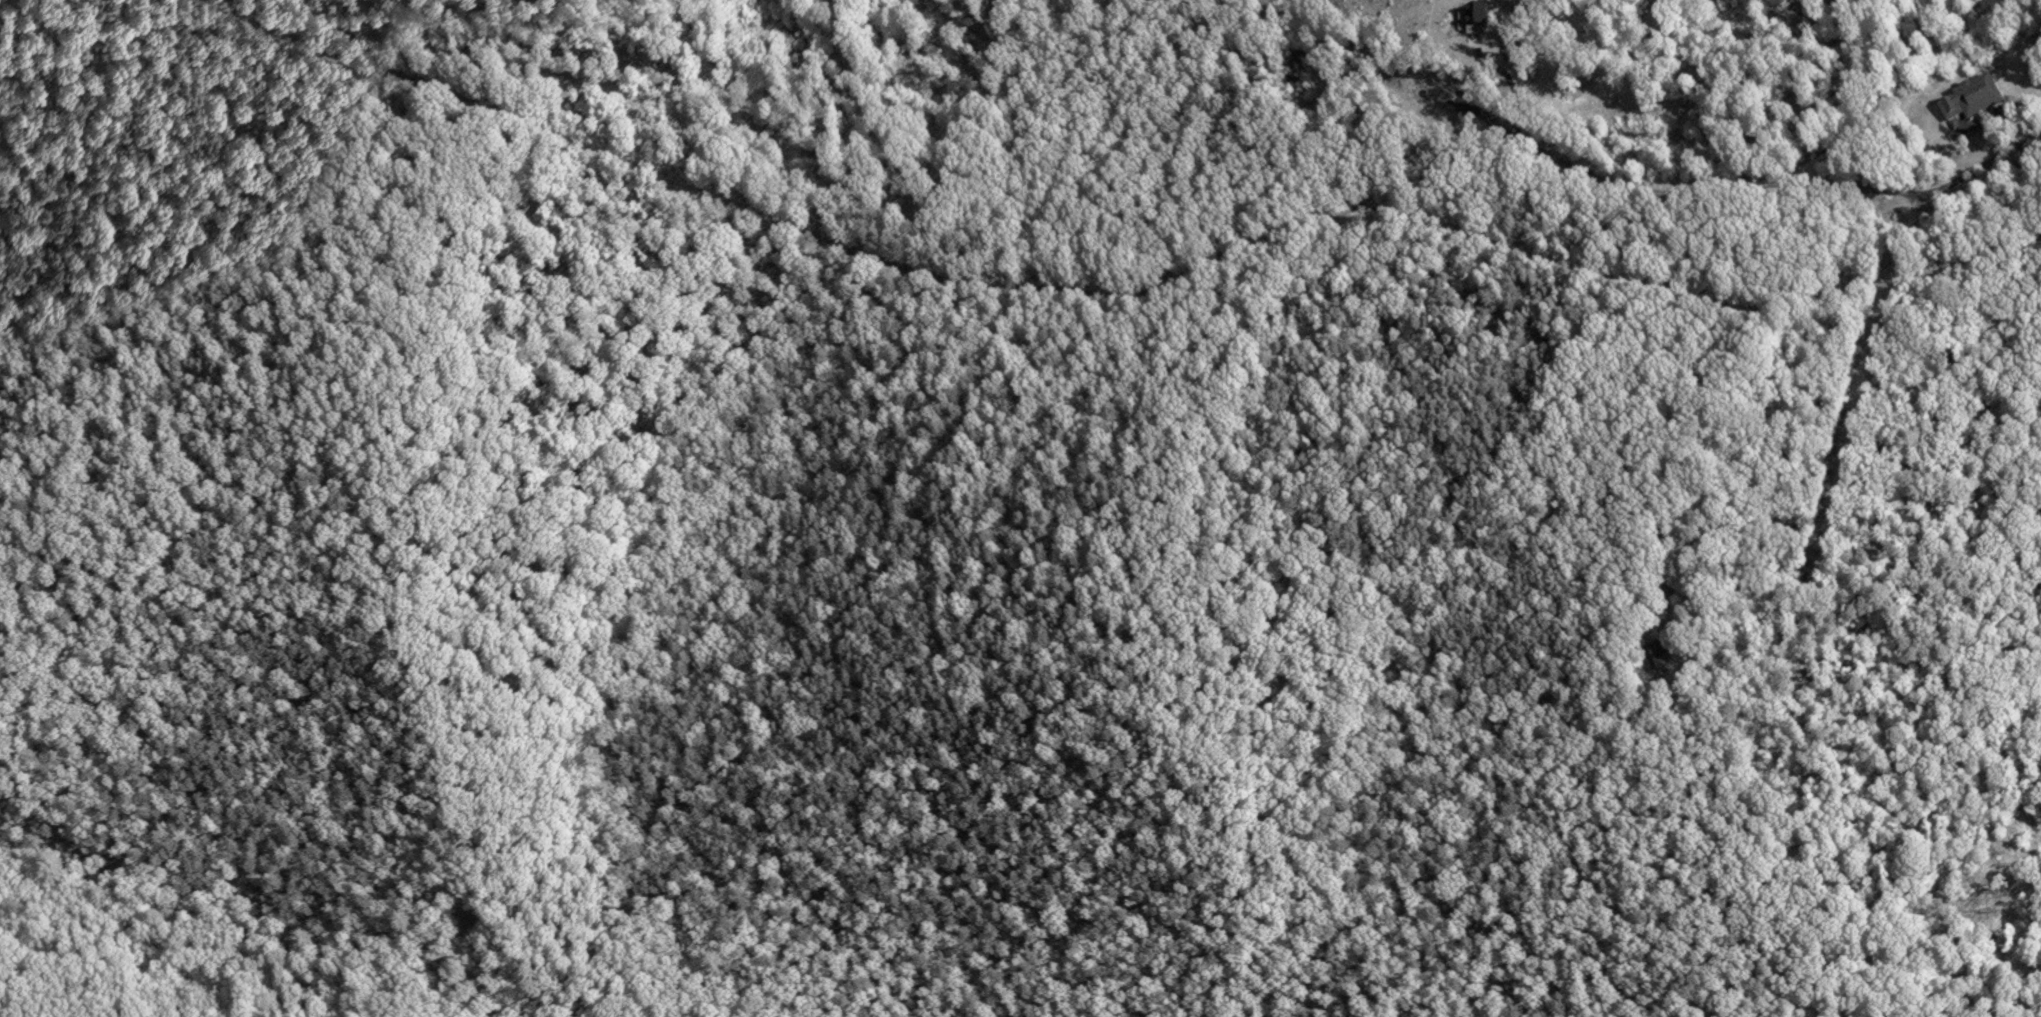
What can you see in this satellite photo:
building: (1971, 102)
building: (1666, 657)

